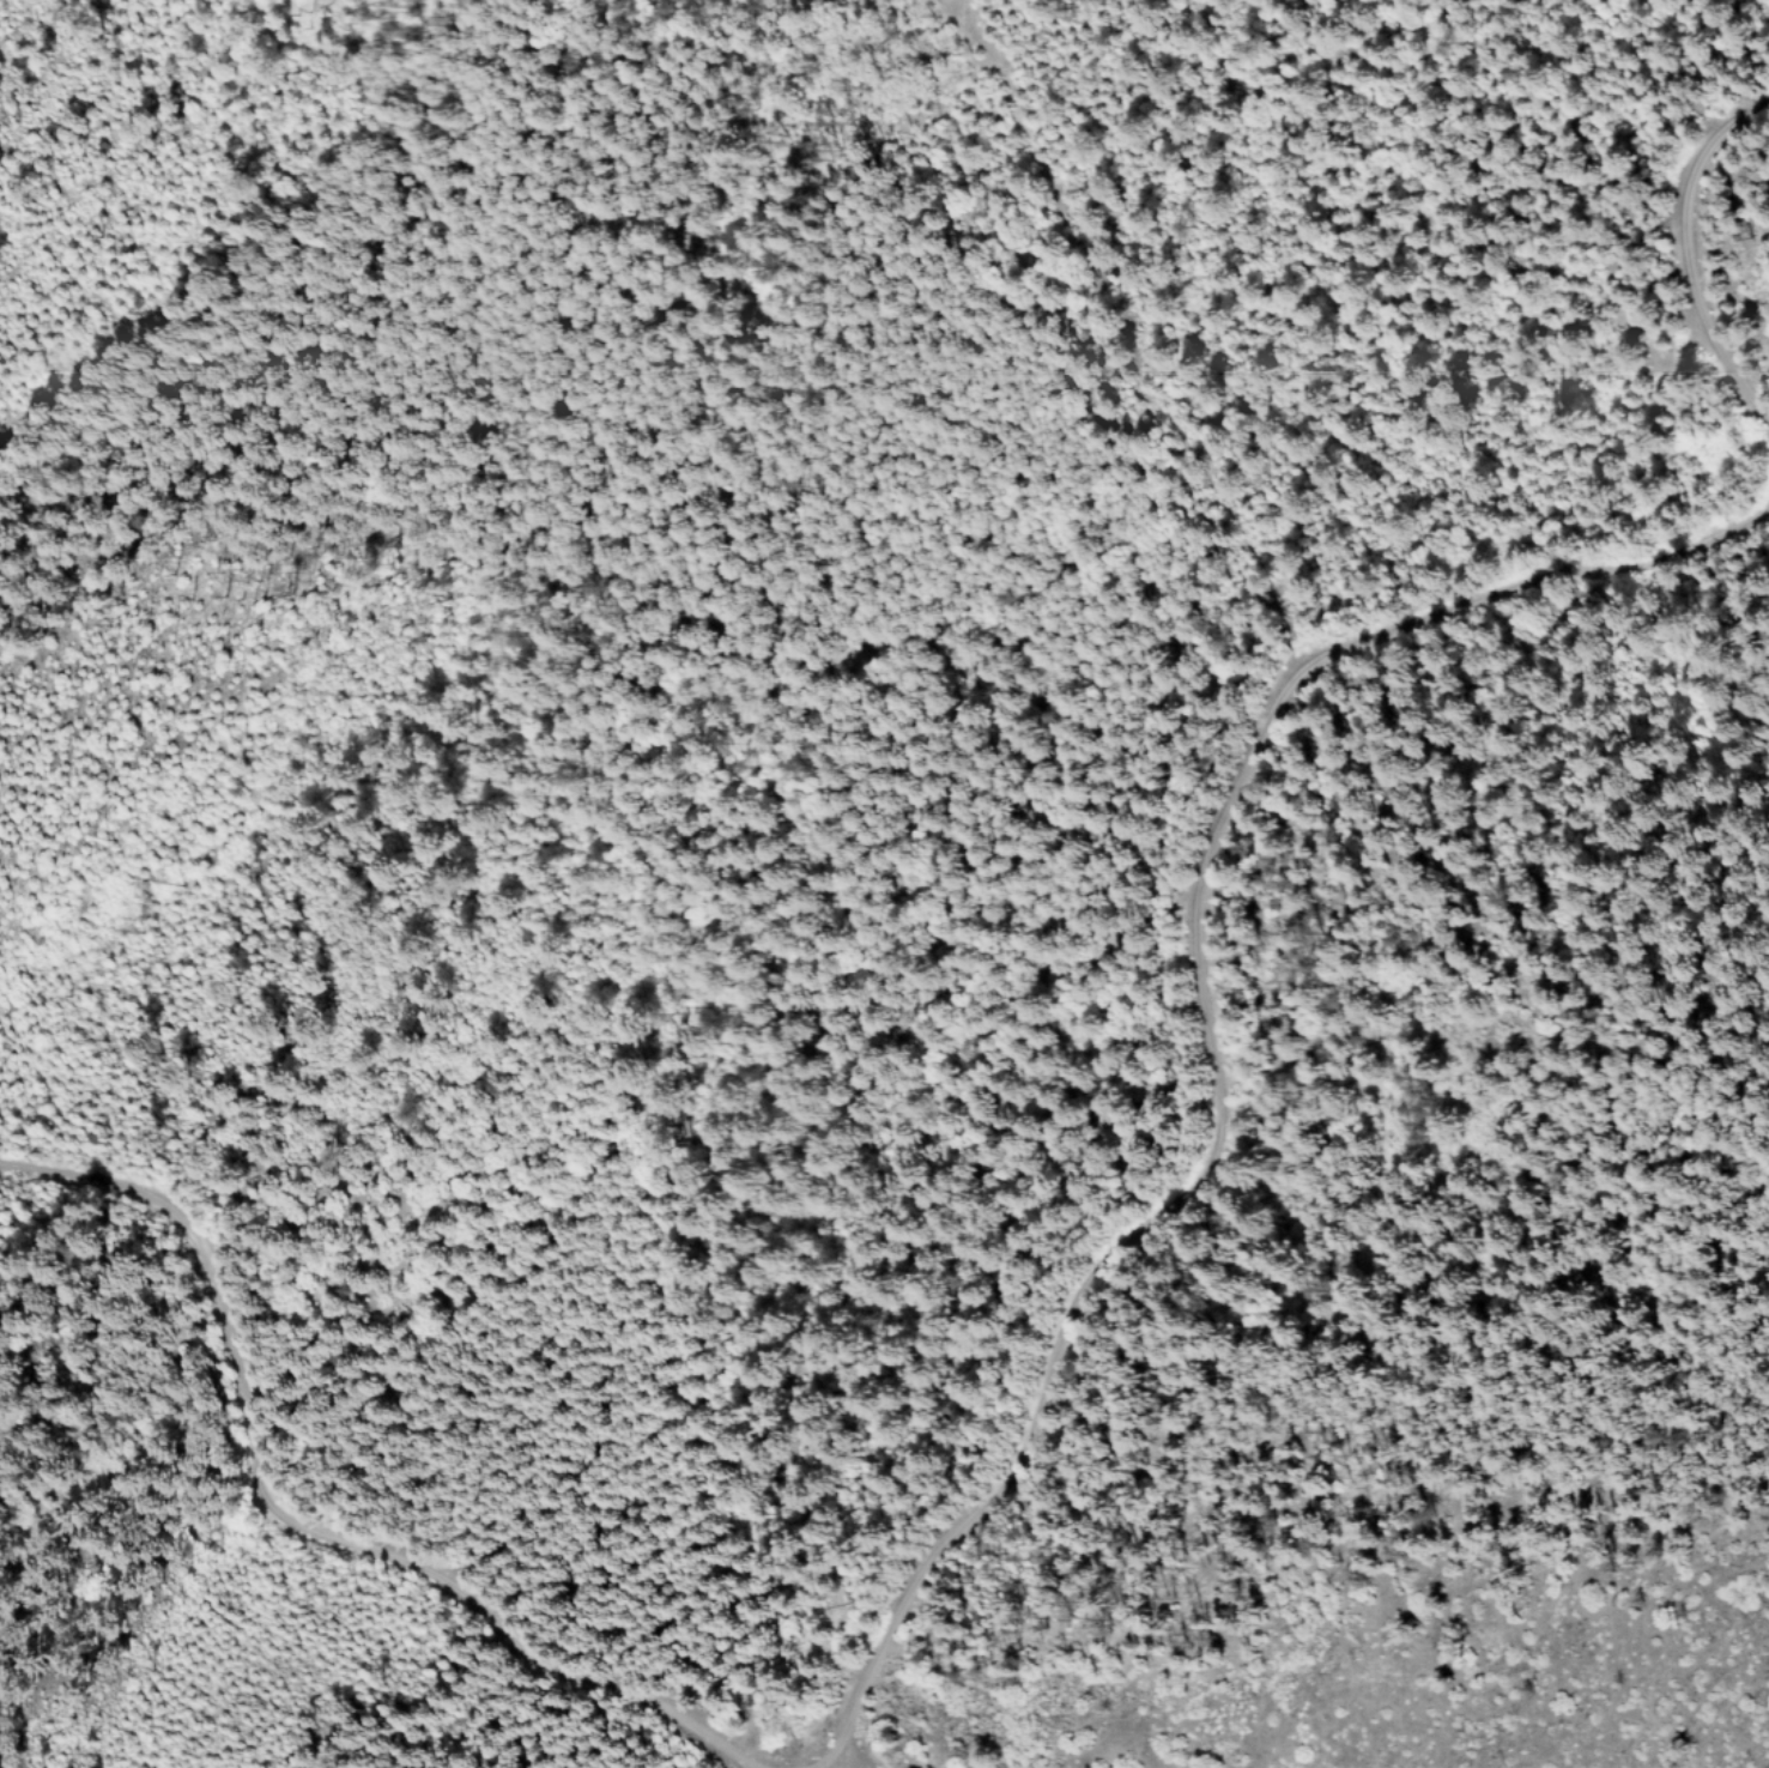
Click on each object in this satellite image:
road: (1055, 1223)

